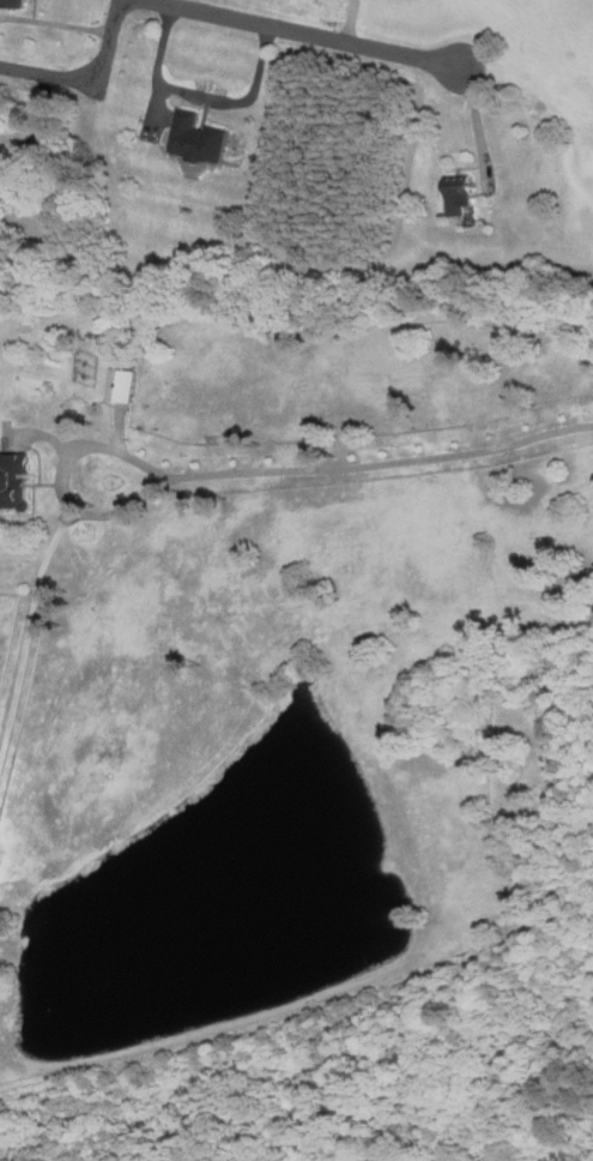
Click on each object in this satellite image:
building: (12, 2)
road: (344, 23)
road: (316, 38)
road: (53, 80)
road: (202, 89)
road: (96, 134)
building: (198, 138)
building: (460, 195)
building: (123, 385)
road: (382, 462)
building: (14, 480)
road: (37, 579)

